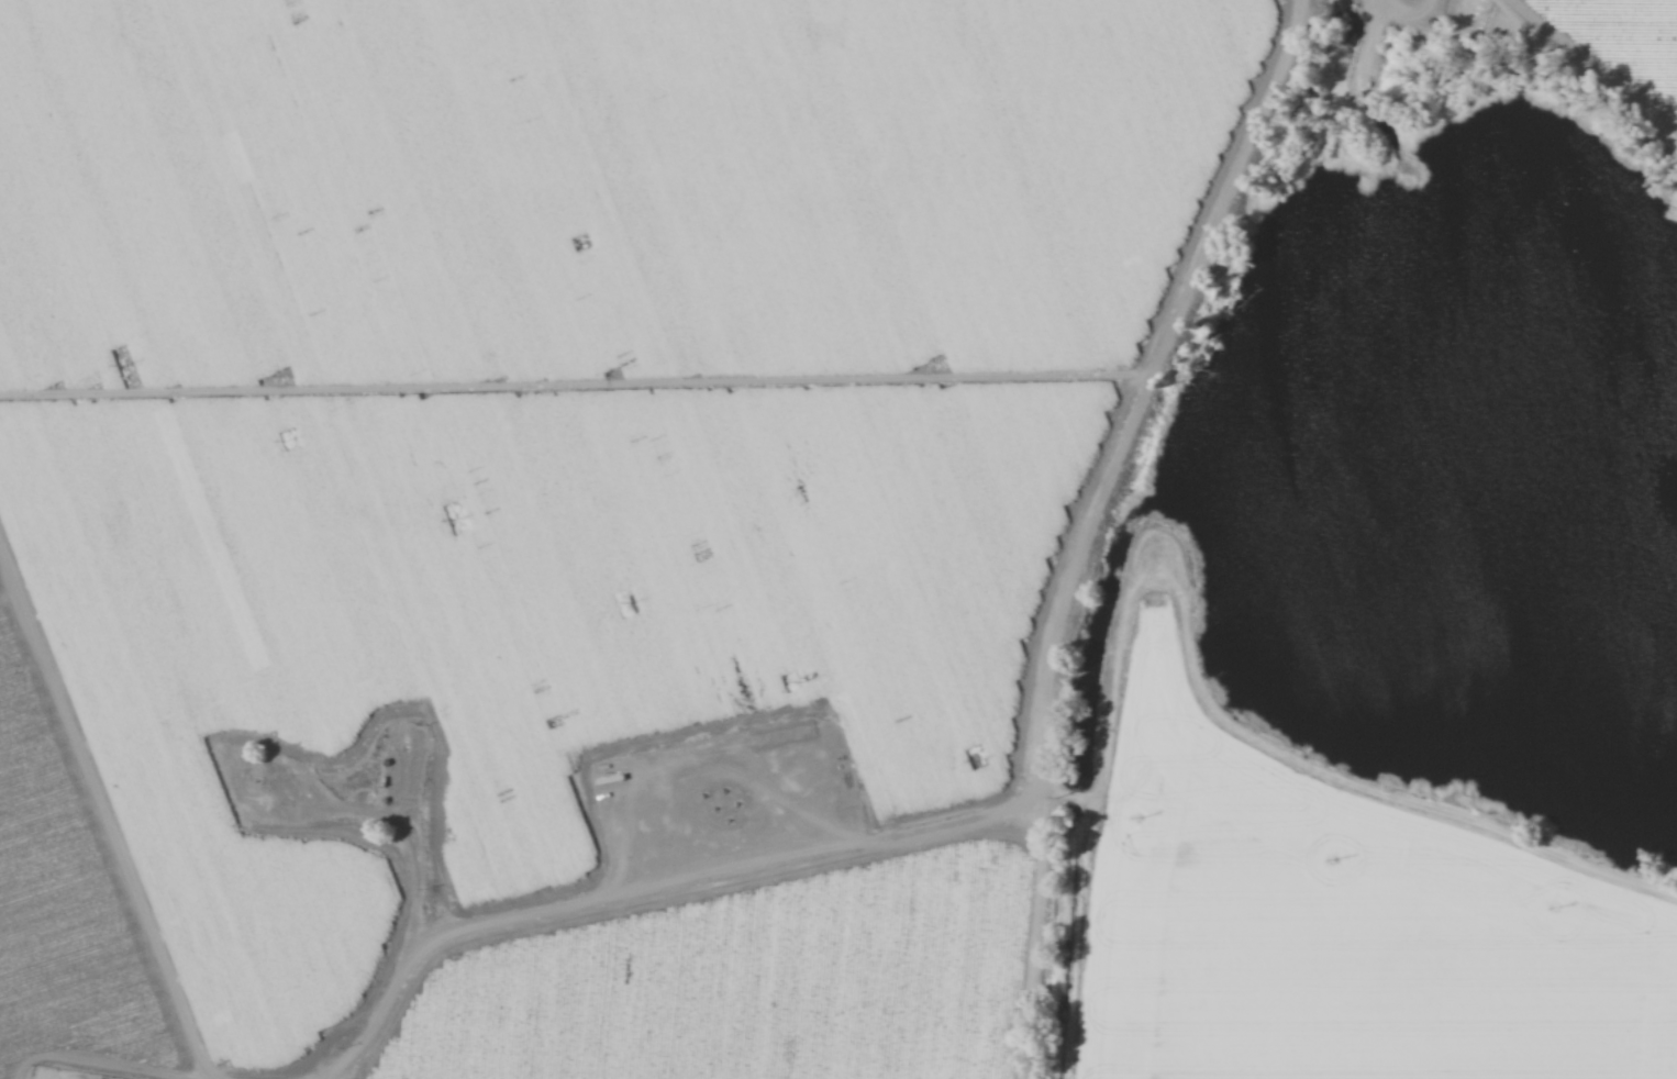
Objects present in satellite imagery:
road: (111, 822)

